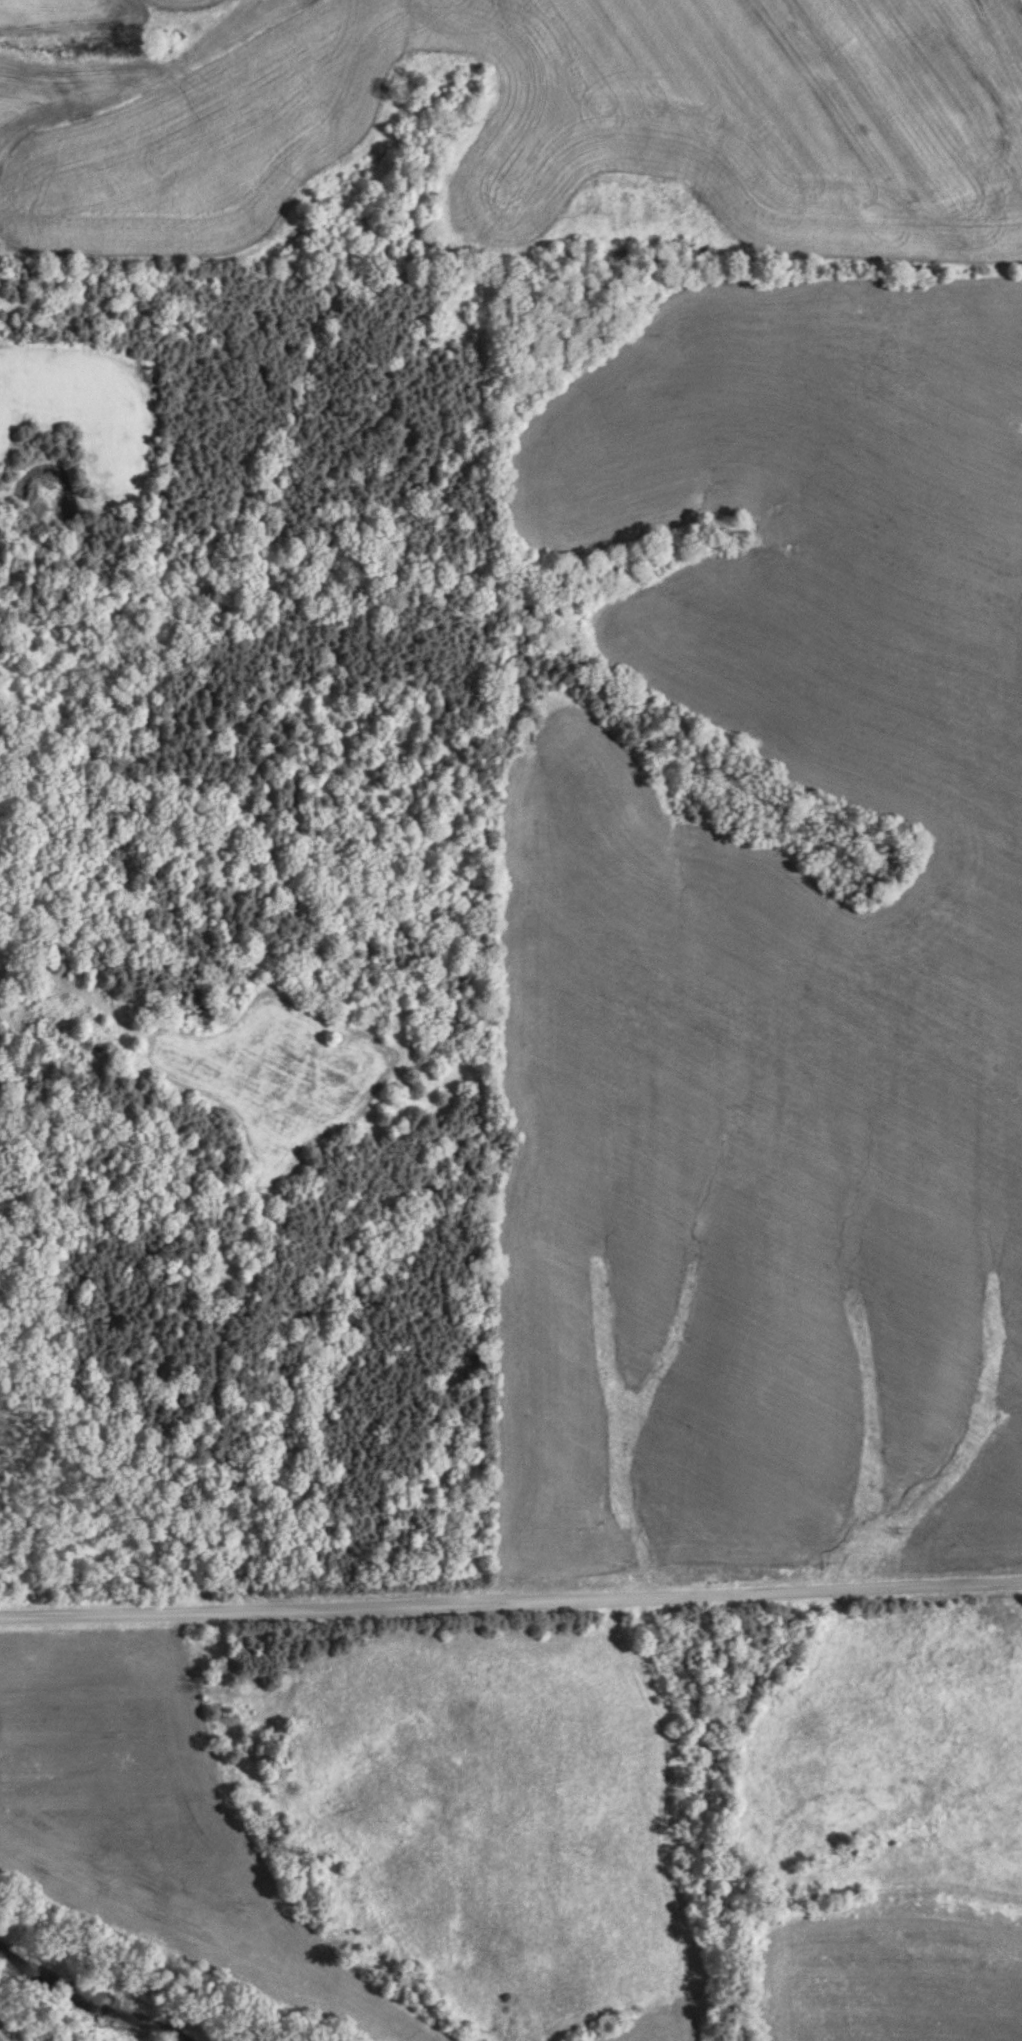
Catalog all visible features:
road: (511, 1599)

